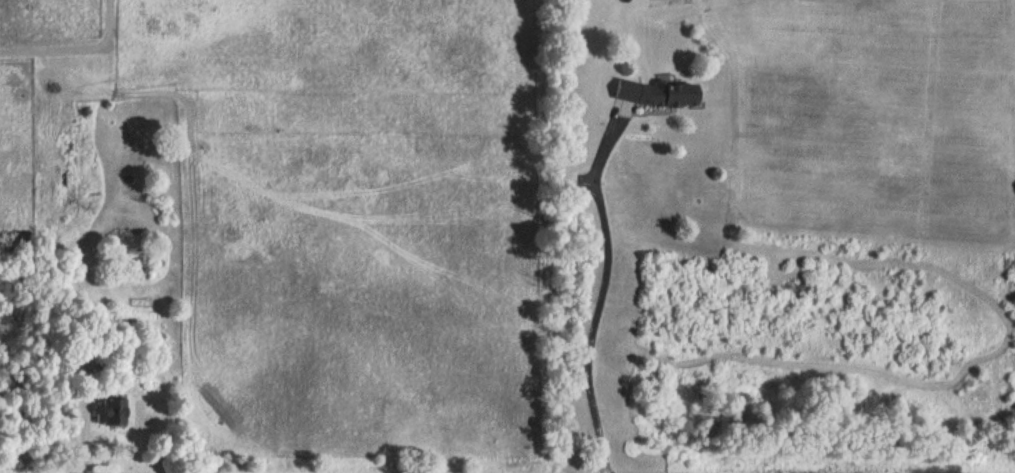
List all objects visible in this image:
building: (665, 93)
road: (604, 286)

